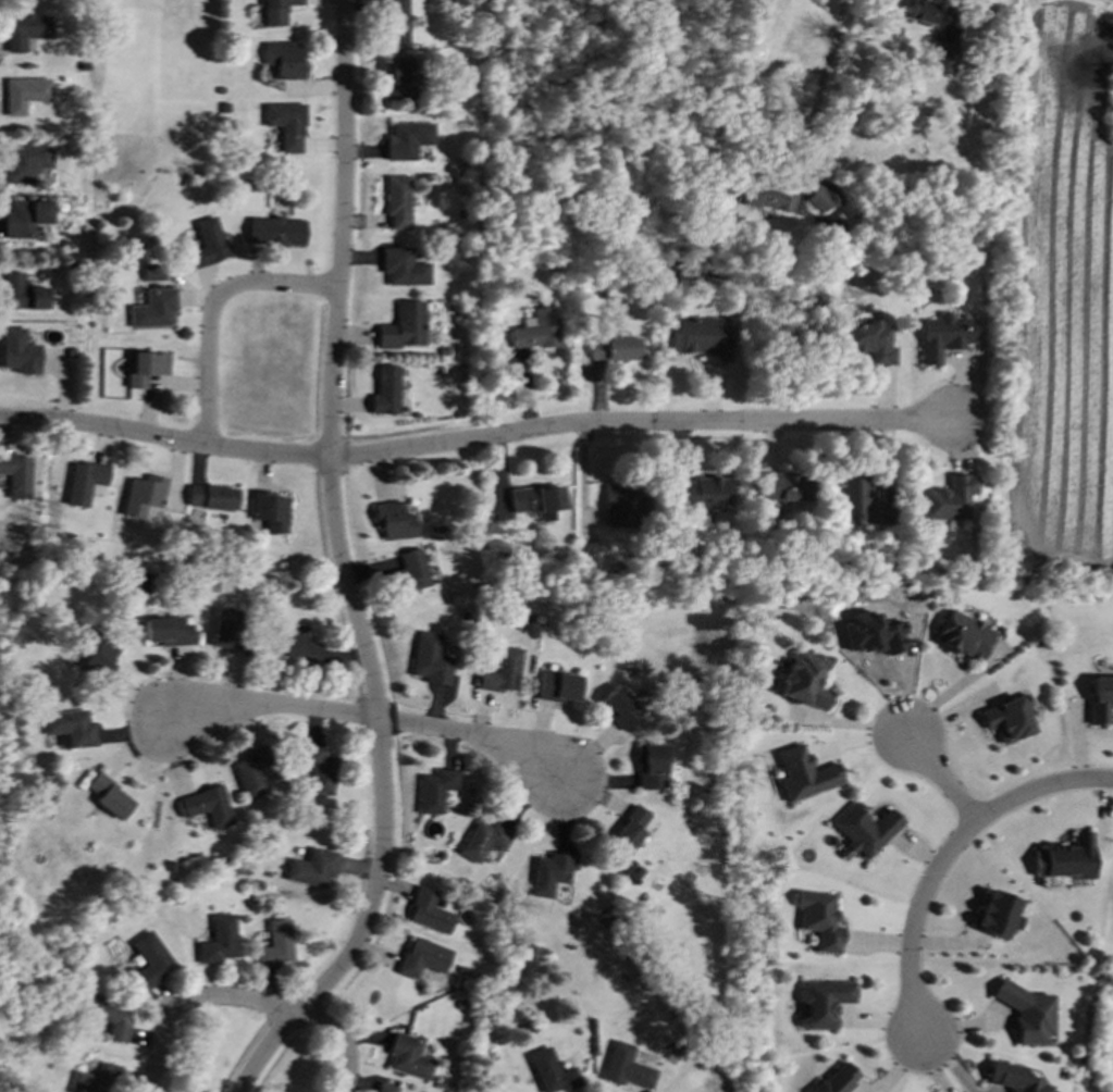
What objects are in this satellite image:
building: (276, 11)
building: (923, 11)
building: (395, 23)
building: (26, 30)
building: (941, 57)
building: (284, 60)
building: (398, 78)
building: (24, 94)
road: (816, 94)
building: (285, 125)
building: (406, 140)
building: (24, 163)
building: (767, 199)
building: (818, 199)
building: (397, 202)
building: (24, 219)
building: (274, 232)
building: (207, 243)
building: (401, 268)
building: (150, 274)
building: (22, 294)
crop: (1056, 301)
building: (152, 309)
road: (211, 309)
building: (403, 327)
building: (535, 330)
building: (944, 337)
building: (701, 338)
building: (868, 342)
building: (614, 349)
building: (17, 352)
building: (145, 369)
building: (385, 390)
road: (474, 439)
building: (16, 475)
building: (84, 483)
building: (780, 487)
building: (700, 494)
building: (141, 496)
building: (210, 498)
building: (949, 499)
building: (857, 500)
building: (536, 501)
building: (622, 507)
building: (268, 511)
building: (393, 521)
road: (343, 569)
building: (408, 572)
building: (224, 629)
building: (166, 632)
building: (963, 636)
building: (292, 648)
building: (96, 653)
building: (499, 671)
building: (803, 680)
building: (556, 686)
building: (1100, 699)
road: (271, 706)
building: (619, 708)
building: (1007, 720)
building: (69, 729)
road: (470, 735)
building: (650, 767)
building: (317, 769)
building: (251, 773)
building: (803, 774)
road: (938, 777)
building: (433, 790)
building: (107, 796)
building: (205, 807)
building: (864, 829)
building: (629, 832)
building: (481, 841)
road: (947, 854)
building: (1065, 859)
building: (311, 869)
building: (547, 873)
building: (426, 911)
building: (997, 915)
building: (817, 920)
building: (218, 940)
building: (274, 945)
building: (421, 958)
building: (149, 959)
road: (188, 1001)
building: (821, 1003)
building: (1026, 1013)
building: (109, 1017)
road: (341, 1040)
building: (407, 1057)
building: (623, 1068)
building: (549, 1072)
building: (1012, 1079)
building: (95, 1080)
building: (834, 1080)
building: (383, 1088)

